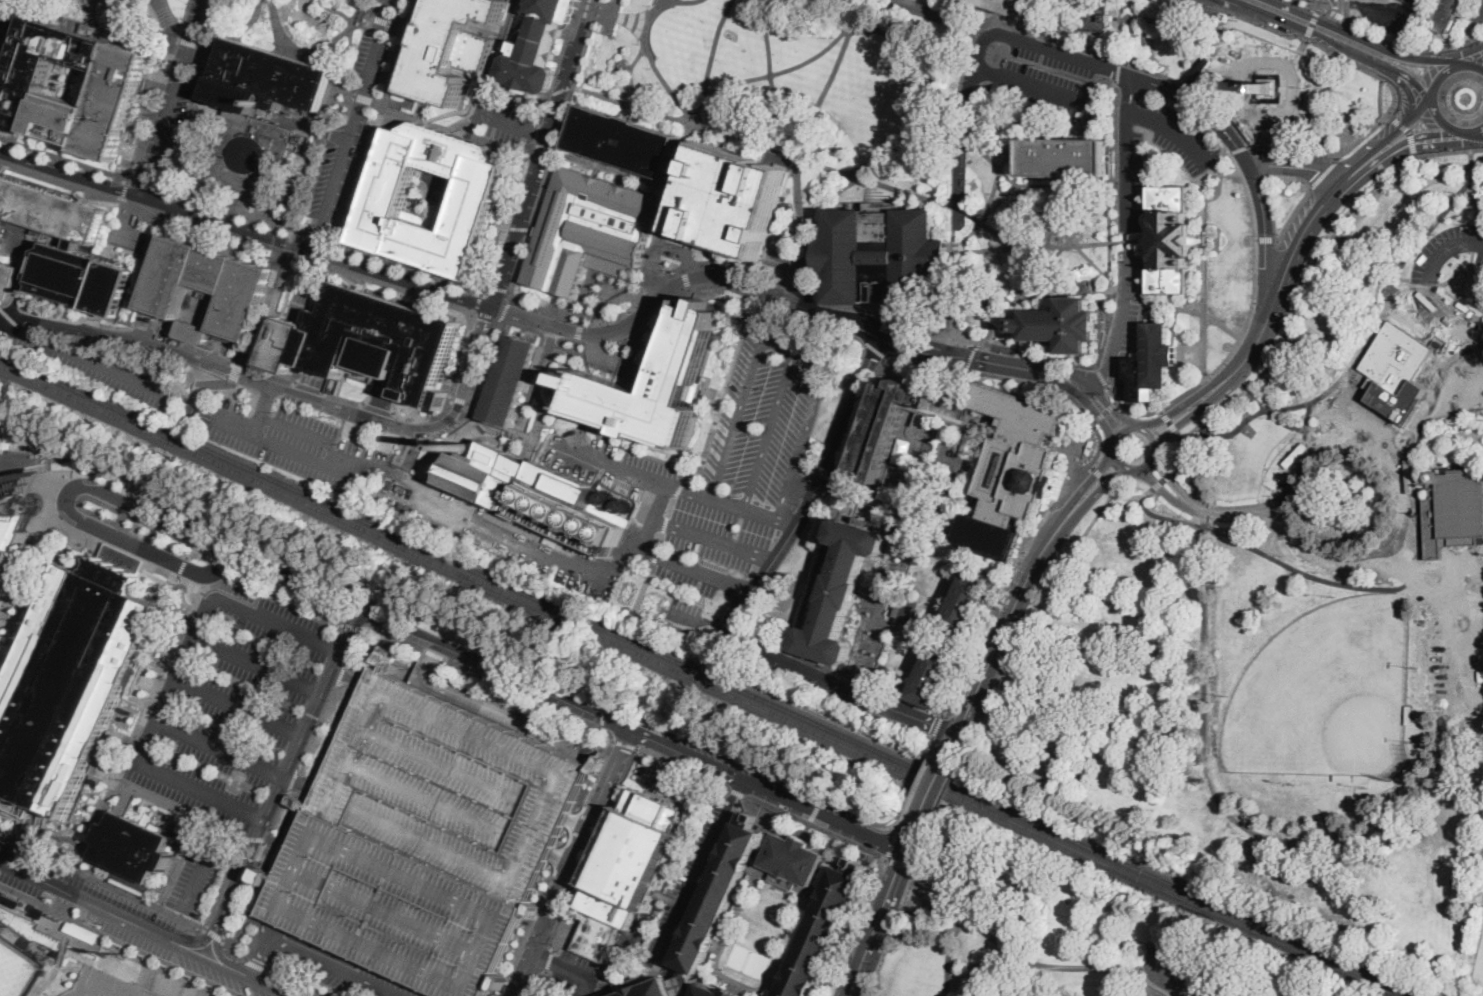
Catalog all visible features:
building: (1415, 2)
road: (12, 3)
road: (660, 4)
building: (1002, 4)
road: (1348, 4)
road: (1243, 5)
road: (1313, 5)
road: (610, 6)
road: (1, 7)
road: (80, 8)
road: (602, 12)
road: (1477, 12)
road: (338, 13)
road: (1338, 13)
road: (944, 14)
parking lot: (1388, 14)
building: (1447, 14)
road: (1348, 15)
parking lot: (1477, 15)
road: (1338, 16)
road: (252, 17)
building: (1095, 18)
road: (1394, 18)
road: (626, 19)
road: (1279, 19)
road: (634, 22)
road: (272, 23)
road: (1312, 24)
road: (645, 25)
park: (298, 28)
road: (172, 36)
road: (1304, 41)
road: (1366, 42)
road: (331, 43)
road: (1340, 46)
building: (451, 47)
building: (538, 47)
road: (645, 47)
road: (209, 48)
road: (1412, 48)
road: (348, 53)
road: (1452, 53)
road: (1295, 58)
road: (1345, 58)
road: (1474, 61)
road: (1474, 64)
road: (1101, 68)
road: (781, 71)
road: (630, 74)
road: (1442, 74)
parking lot: (1046, 75)
park: (793, 76)
park: (1265, 77)
road: (1410, 77)
road: (770, 80)
road: (830, 80)
road: (487, 82)
road: (574, 85)
road: (1028, 85)
road: (1405, 86)
building: (1267, 88)
road: (160, 89)
road: (561, 89)
road: (487, 90)
building: (22, 92)
road: (172, 96)
road: (518, 96)
road: (362, 98)
road: (544, 108)
road: (460, 109)
road: (1422, 109)
road: (400, 112)
building: (258, 114)
road: (1390, 117)
road: (1441, 119)
road: (471, 120)
parking lot: (511, 122)
road: (352, 124)
road: (1173, 129)
road: (1472, 130)
road: (536, 131)
road: (460, 132)
road: (1409, 132)
road: (1471, 133)
road: (372, 135)
road: (688, 136)
road: (486, 139)
parking lot: (1183, 139)
building: (622, 141)
road: (534, 142)
road: (1436, 143)
road: (1378, 144)
road: (1402, 144)
road: (542, 145)
road: (1298, 145)
road: (531, 146)
road: (889, 148)
road: (1239, 148)
road: (555, 149)
road: (560, 149)
road: (765, 149)
road: (1449, 151)
road: (1126, 153)
parking lot: (1302, 153)
road: (541, 154)
road: (451, 155)
road: (1415, 156)
road: (581, 158)
building: (1065, 158)
road: (64, 159)
road: (988, 159)
road: (1473, 164)
road: (1296, 166)
road: (615, 168)
road: (1215, 170)
road: (1015, 172)
road: (1323, 174)
road: (443, 178)
road: (655, 181)
road: (1267, 184)
road: (147, 185)
parking lot: (436, 185)
road: (1109, 186)
road: (124, 190)
road: (798, 193)
building: (474, 195)
building: (732, 201)
road: (229, 207)
road: (1065, 209)
building: (50, 210)
road: (958, 210)
road: (1089, 215)
road: (1293, 215)
road: (500, 221)
park: (1021, 225)
road: (247, 226)
building: (588, 228)
road: (992, 230)
road: (1062, 230)
road: (292, 232)
road: (315, 233)
road: (1301, 236)
building: (1170, 239)
building: (1200, 239)
road: (1265, 239)
road: (238, 240)
road: (1092, 242)
parking lot: (1136, 245)
road: (1256, 246)
road: (981, 248)
parking lot: (1432, 248)
building: (882, 255)
road: (681, 264)
road: (414, 270)
road: (1205, 271)
building: (81, 278)
road: (684, 278)
building: (8, 279)
road: (1432, 283)
road: (758, 286)
road: (497, 287)
road: (688, 288)
road: (1400, 288)
building: (207, 291)
road: (949, 295)
road: (679, 297)
road: (657, 299)
road: (810, 299)
road: (1300, 300)
road: (478, 302)
road: (752, 302)
road: (506, 309)
road: (1123, 311)
road: (1191, 311)
road: (489, 317)
road: (9, 319)
road: (886, 322)
road: (122, 324)
building: (1064, 325)
road: (577, 329)
road: (882, 329)
road: (550, 337)
road: (881, 337)
road: (482, 339)
building: (368, 341)
road: (1364, 343)
road: (461, 344)
road: (788, 346)
road: (874, 348)
road: (1481, 348)
road: (1251, 350)
road: (971, 357)
road: (88, 360)
building: (1398, 360)
road: (997, 362)
building: (1151, 363)
road: (484, 367)
parking lot: (102, 368)
road: (235, 372)
road: (997, 373)
road: (266, 374)
road: (251, 377)
building: (509, 377)
building: (666, 382)
road: (224, 384)
street lamp: (240, 385)
road: (309, 386)
road: (454, 387)
road: (1094, 389)
road: (541, 396)
road: (343, 397)
road: (186, 398)
road: (193, 399)
road: (462, 400)
road: (722, 400)
road: (1086, 402)
road: (379, 407)
road: (1182, 407)
road: (262, 409)
road: (1106, 412)
road: (1138, 413)
road: (839, 414)
road: (1273, 415)
road: (1440, 415)
street lamp: (334, 416)
road: (186, 417)
road: (1190, 417)
road: (428, 419)
road: (1169, 420)
street lamp: (458, 421)
building: (898, 422)
road: (500, 425)
road: (1138, 426)
road: (1307, 427)
road: (769, 429)
road: (1119, 431)
road: (1367, 433)
road: (1152, 435)
road: (484, 436)
parking lot: (293, 442)
road: (460, 442)
road: (281, 445)
road: (1383, 447)
road: (510, 448)
road: (1113, 448)
road: (1183, 453)
road: (647, 454)
road: (14, 459)
building: (419, 459)
road: (1116, 460)
road: (1389, 463)
road: (1148, 464)
road: (1206, 465)
road: (115, 467)
road: (1127, 468)
road: (165, 469)
road: (24, 471)
building: (1012, 471)
parking lot: (720, 472)
road: (59, 475)
building: (479, 475)
road: (1103, 479)
road: (1164, 480)
road: (1171, 481)
building: (388, 484)
road: (674, 485)
road: (804, 485)
road: (1086, 485)
park: (28, 489)
building: (400, 489)
road: (1163, 491)
road: (154, 494)
road: (813, 494)
road: (1095, 494)
road: (1135, 497)
building: (380, 502)
road: (1276, 503)
road: (175, 506)
building: (1454, 510)
road: (1204, 511)
road: (147, 512)
road: (460, 513)
road: (1225, 513)
road: (132, 515)
road: (1278, 515)
building: (16, 517)
building: (567, 518)
building: (426, 522)
road: (134, 531)
building: (552, 539)
road: (713, 540)
road: (660, 541)
road: (27, 552)
road: (668, 558)
road: (1279, 562)
road: (183, 565)
road: (219, 566)
road: (1015, 567)
road: (211, 573)
road: (293, 578)
building: (841, 591)
road: (285, 599)
building: (968, 604)
building: (399, 607)
road: (397, 611)
building: (904, 615)
road: (387, 619)
road: (276, 622)
road: (1033, 622)
road: (351, 626)
road: (365, 630)
road: (1002, 634)
road: (360, 643)
road: (259, 661)
park: (1254, 672)
road: (341, 674)
building: (934, 676)
road: (490, 677)
railway: (709, 677)
road: (174, 679)
road: (348, 682)
railway: (699, 683)
building: (77, 685)
road: (1453, 686)
road: (837, 688)
road: (605, 689)
park: (1325, 693)
road: (475, 701)
parking lot: (229, 703)
road: (239, 704)
building: (1409, 713)
road: (602, 717)
road: (938, 725)
road: (319, 726)
road: (631, 730)
road: (936, 741)
road: (625, 743)
road: (220, 745)
building: (1480, 752)
road: (287, 768)
road: (602, 768)
parking lot: (757, 773)
building: (1405, 776)
building: (1343, 777)
road: (295, 778)
road: (922, 778)
road: (303, 781)
road: (935, 784)
road: (946, 789)
road: (199, 791)
road: (1215, 797)
road: (278, 814)
road: (579, 824)
road: (893, 827)
road: (913, 833)
building: (431, 838)
parking lot: (431, 838)
road: (892, 843)
road: (924, 845)
road: (211, 846)
road: (864, 846)
building: (133, 847)
road: (262, 849)
road: (270, 854)
road: (564, 858)
building: (792, 860)
road: (572, 862)
road: (6, 864)
road: (903, 865)
building: (626, 869)
road: (701, 874)
road: (197, 877)
road: (783, 879)
parking lot: (683, 881)
road: (104, 882)
building: (719, 893)
building: (10, 898)
road: (240, 899)
road: (92, 903)
road: (870, 908)
building: (40, 912)
building: (649, 921)
road: (876, 923)
building: (821, 929)
building: (84, 931)
road: (215, 934)
road: (195, 943)
road: (723, 946)
road: (235, 949)
road: (265, 949)
road: (947, 953)
road: (219, 956)
road: (203, 959)
park: (749, 961)
road: (1027, 961)
park: (1479, 962)
road: (258, 966)
road: (332, 968)
park: (15, 969)
road: (704, 976)
road: (844, 976)
road: (1177, 979)
track: (109, 984)
road: (266, 984)
road: (297, 984)
road: (1153, 984)
road: (43, 985)
building: (185, 986)
building: (661, 986)
building: (620, 987)
railway: (1379, 988)
track: (107, 992)
building: (714, 992)
road: (761, 993)

